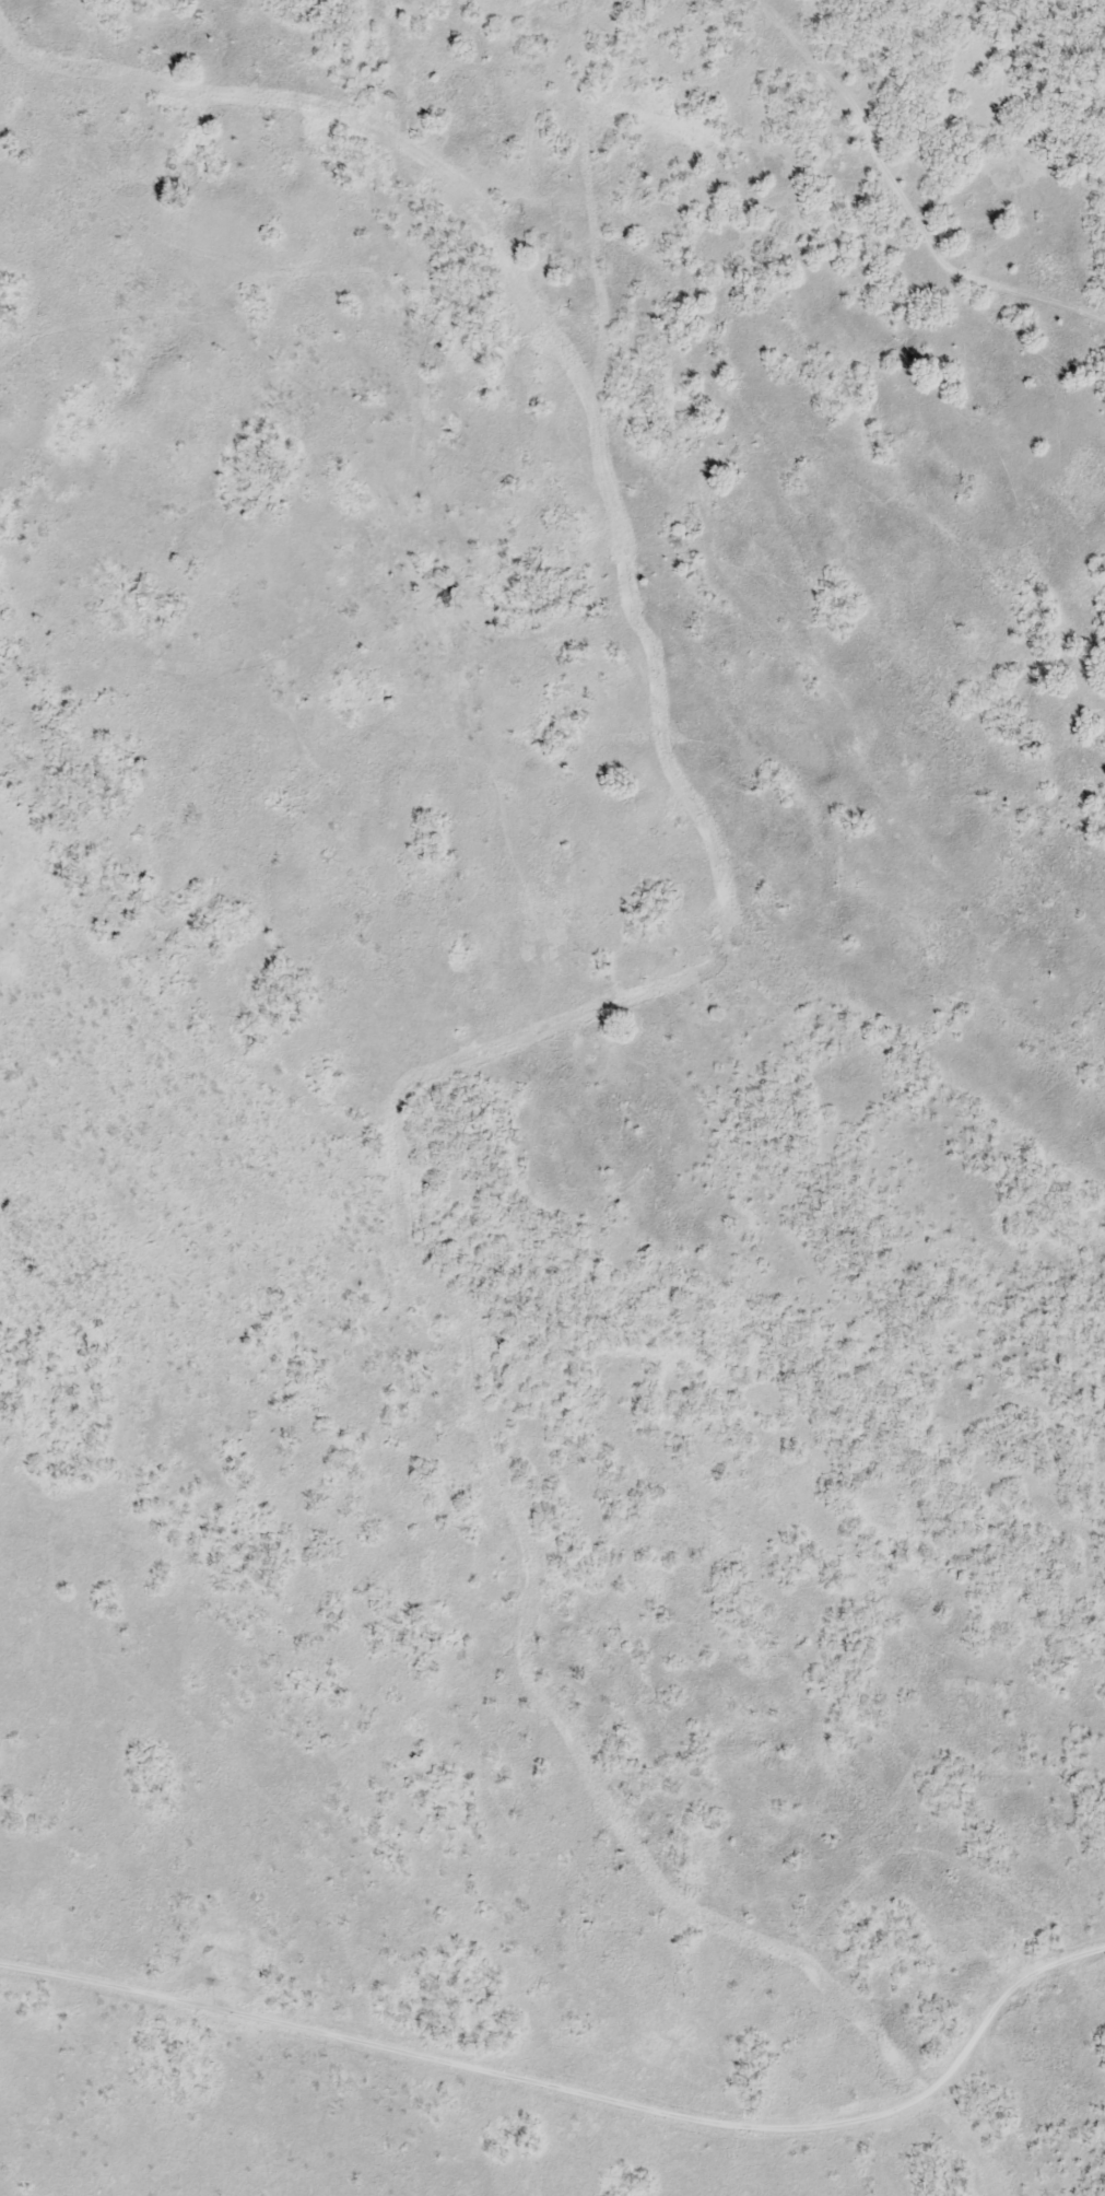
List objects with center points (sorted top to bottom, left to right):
road: (598, 2086)

